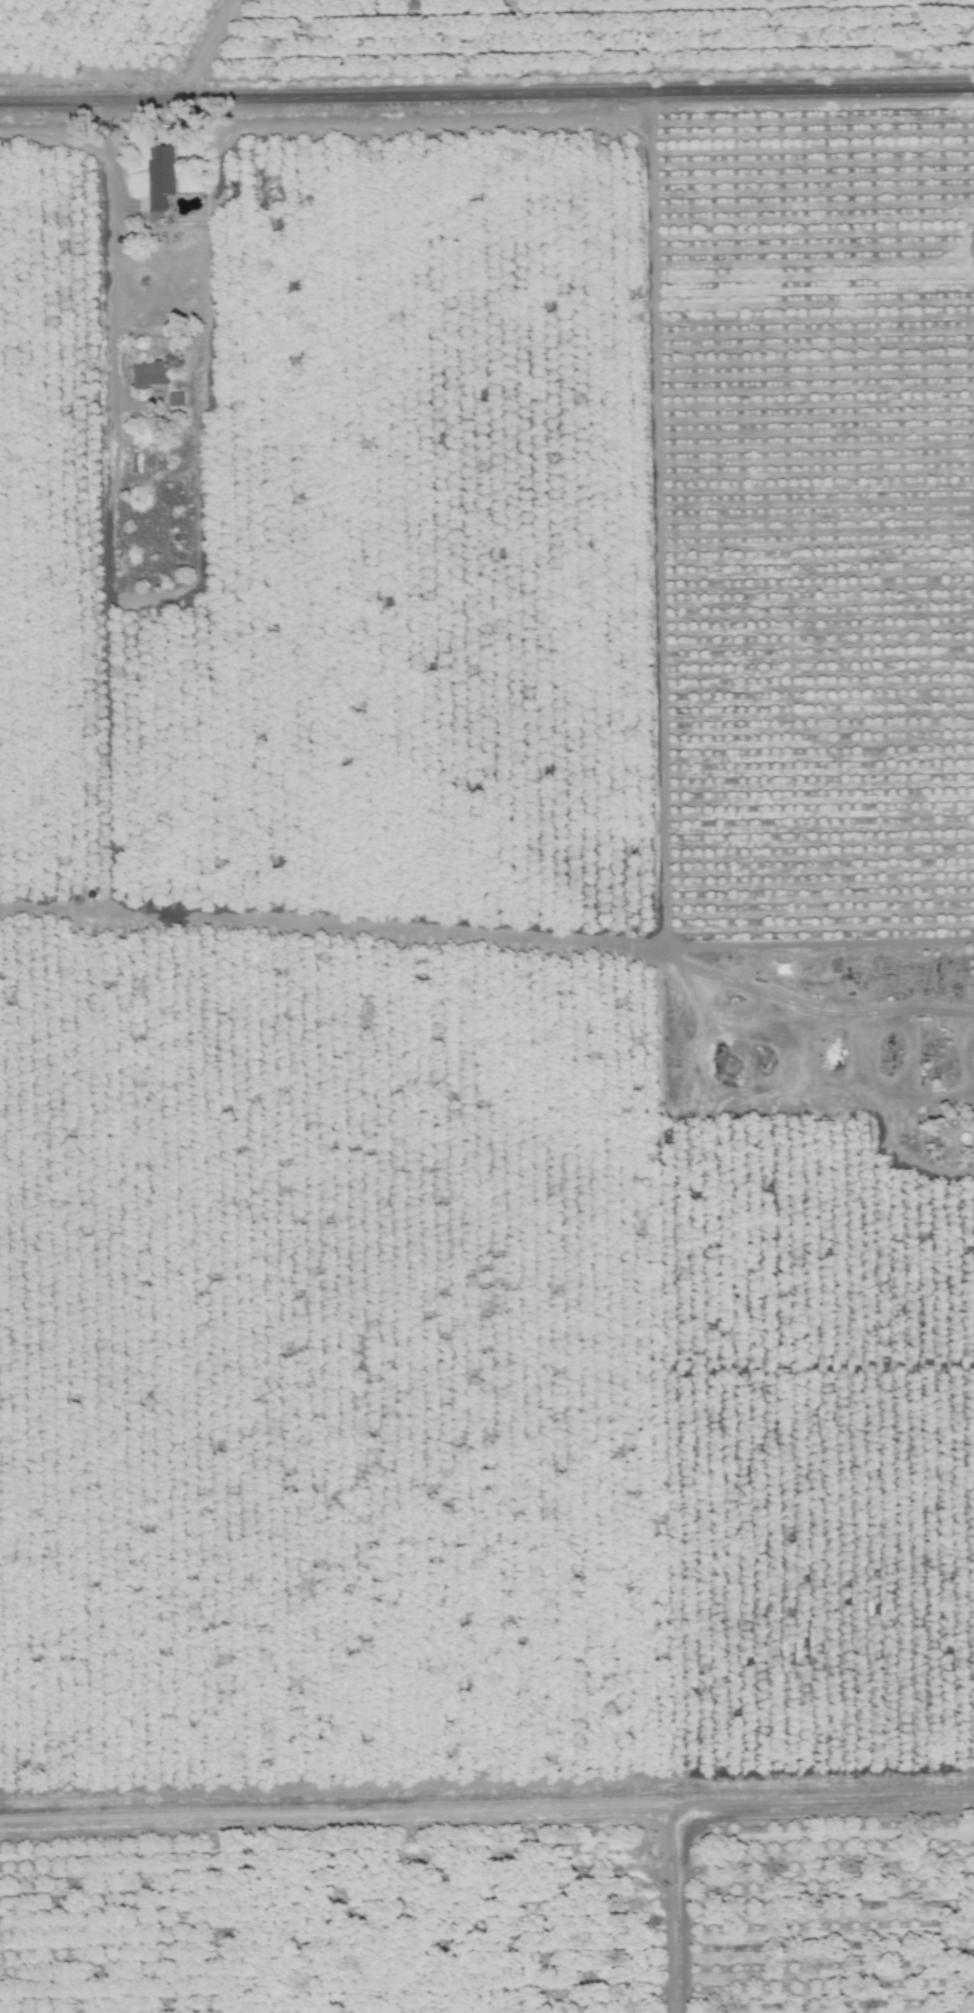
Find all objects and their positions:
road: (487, 92)
building: (162, 175)
building: (973, 239)
building: (153, 372)

